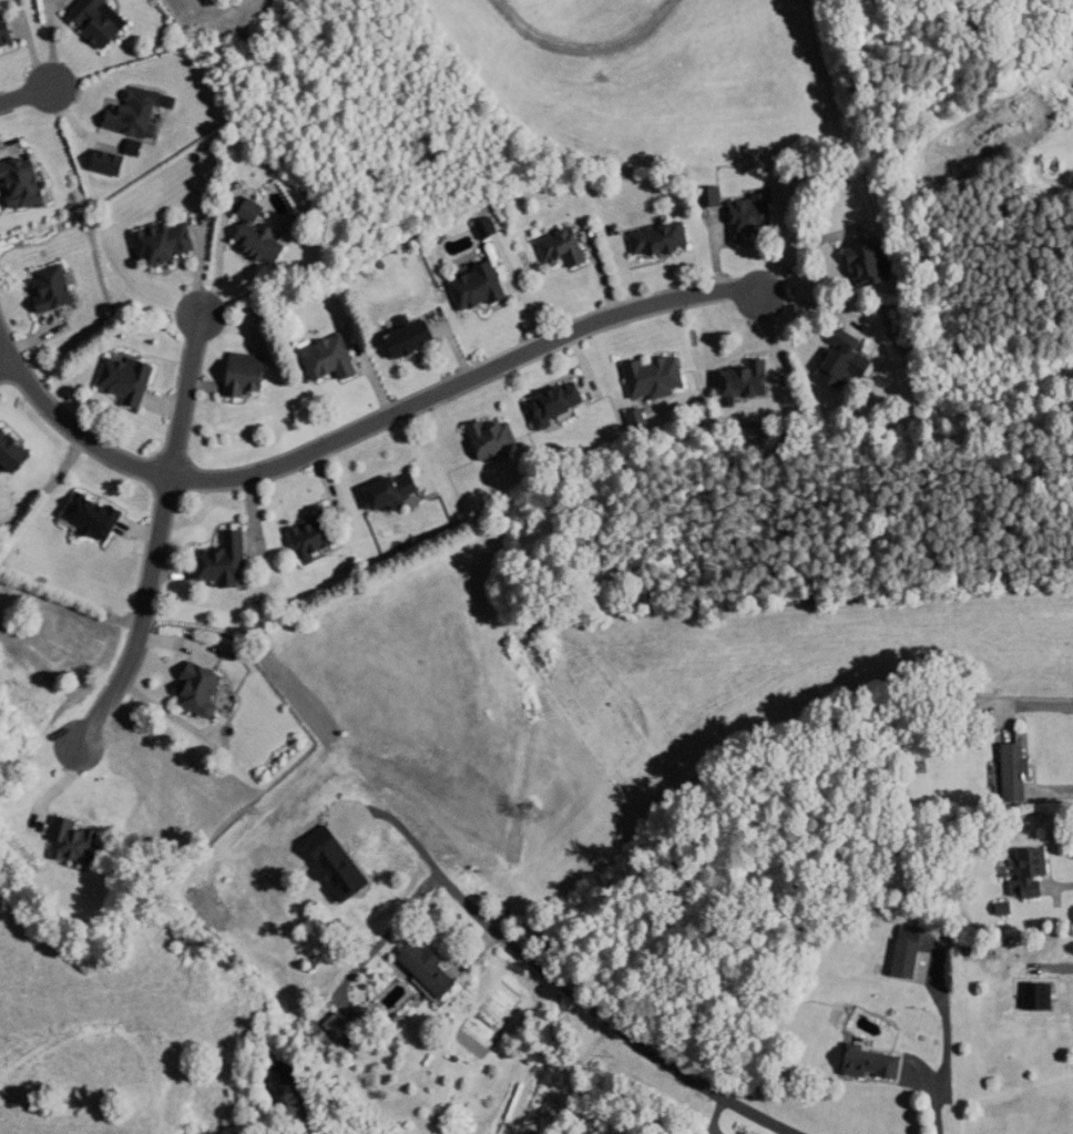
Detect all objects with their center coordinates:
building: (102, 21)
building: (7, 34)
road: (25, 92)
building: (139, 113)
building: (24, 183)
building: (748, 219)
building: (491, 229)
building: (260, 238)
building: (663, 242)
building: (167, 244)
road: (805, 248)
building: (568, 251)
building: (875, 264)
building: (481, 289)
building: (55, 290)
building: (415, 340)
building: (333, 360)
road: (6, 361)
building: (849, 362)
building: (249, 376)
building: (658, 377)
building: (129, 380)
building: (750, 381)
building: (561, 405)
road: (360, 427)
building: (498, 441)
building: (16, 451)
building: (398, 492)
building: (95, 519)
road: (159, 534)
building: (319, 535)
building: (228, 563)
building: (204, 693)
building: (1020, 770)
building: (75, 841)
road: (418, 847)
building: (1036, 875)
building: (912, 954)
building: (435, 968)
building: (340, 1025)
road: (631, 1038)
building: (880, 1062)

